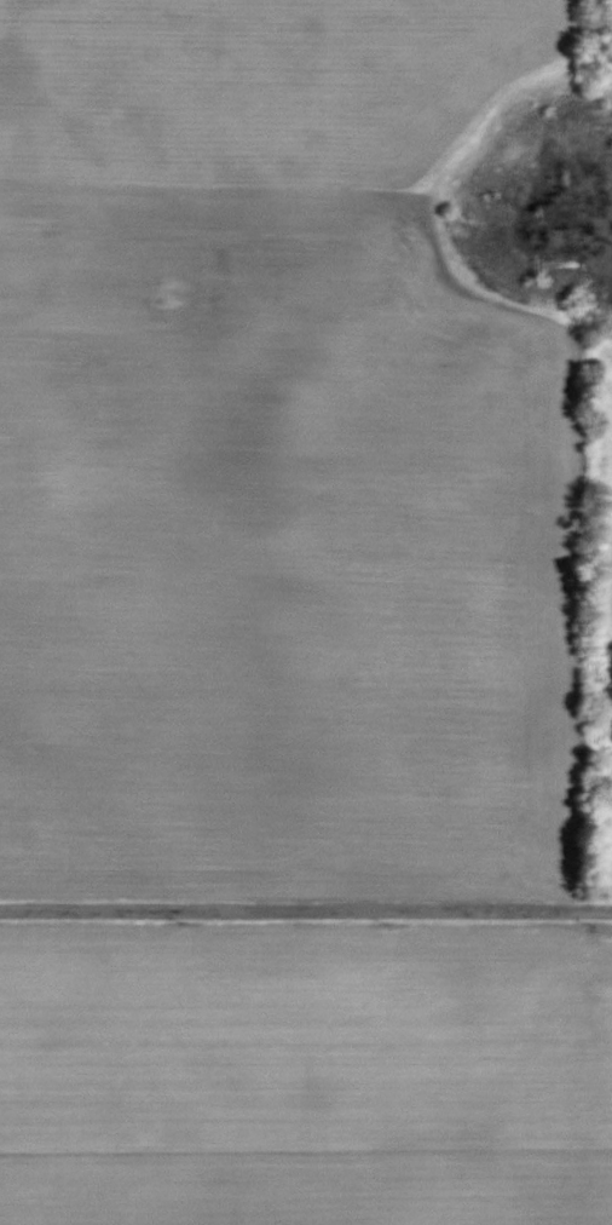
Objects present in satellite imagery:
road: (306, 910)

